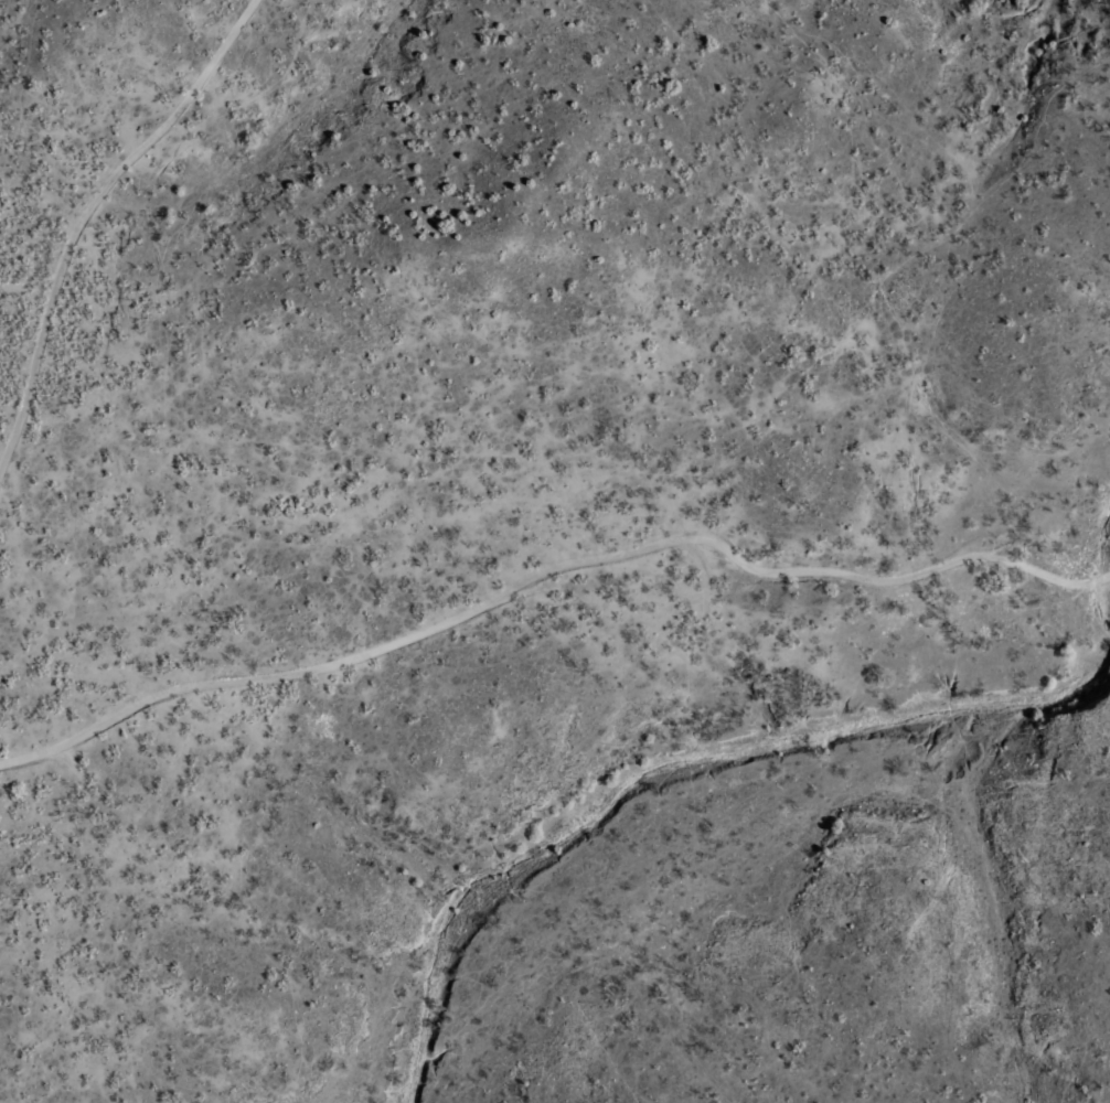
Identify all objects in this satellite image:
road: (546, 566)

